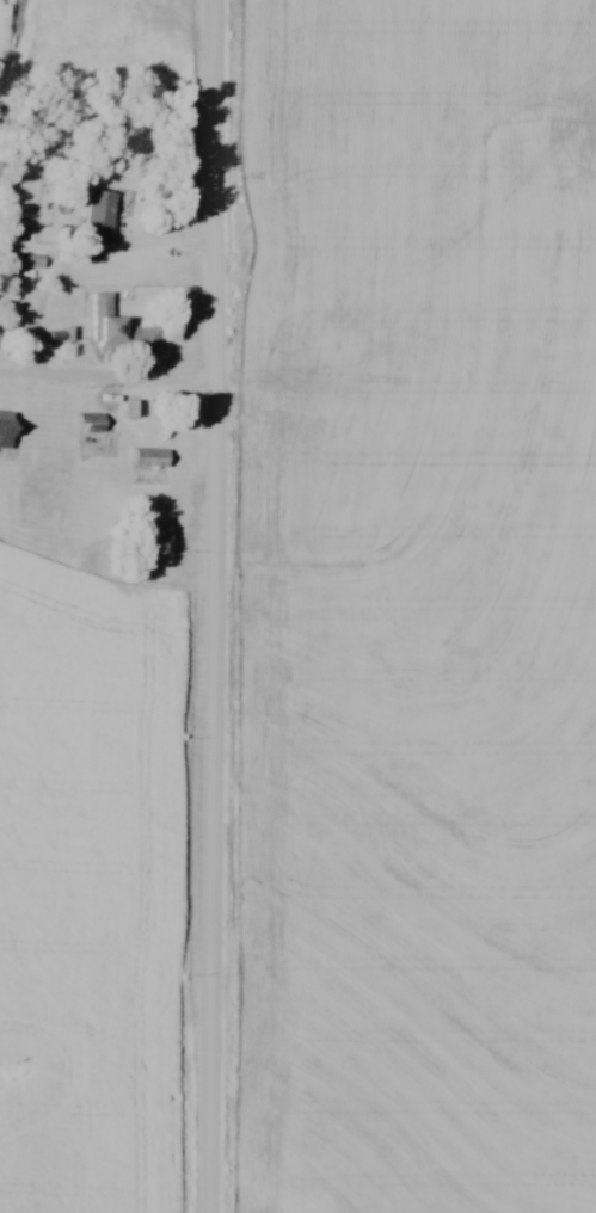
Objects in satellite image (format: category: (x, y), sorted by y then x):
building: (100, 215)
building: (31, 260)
building: (119, 327)
road: (107, 380)
building: (134, 407)
building: (93, 421)
building: (7, 429)
building: (152, 456)
road: (215, 606)

